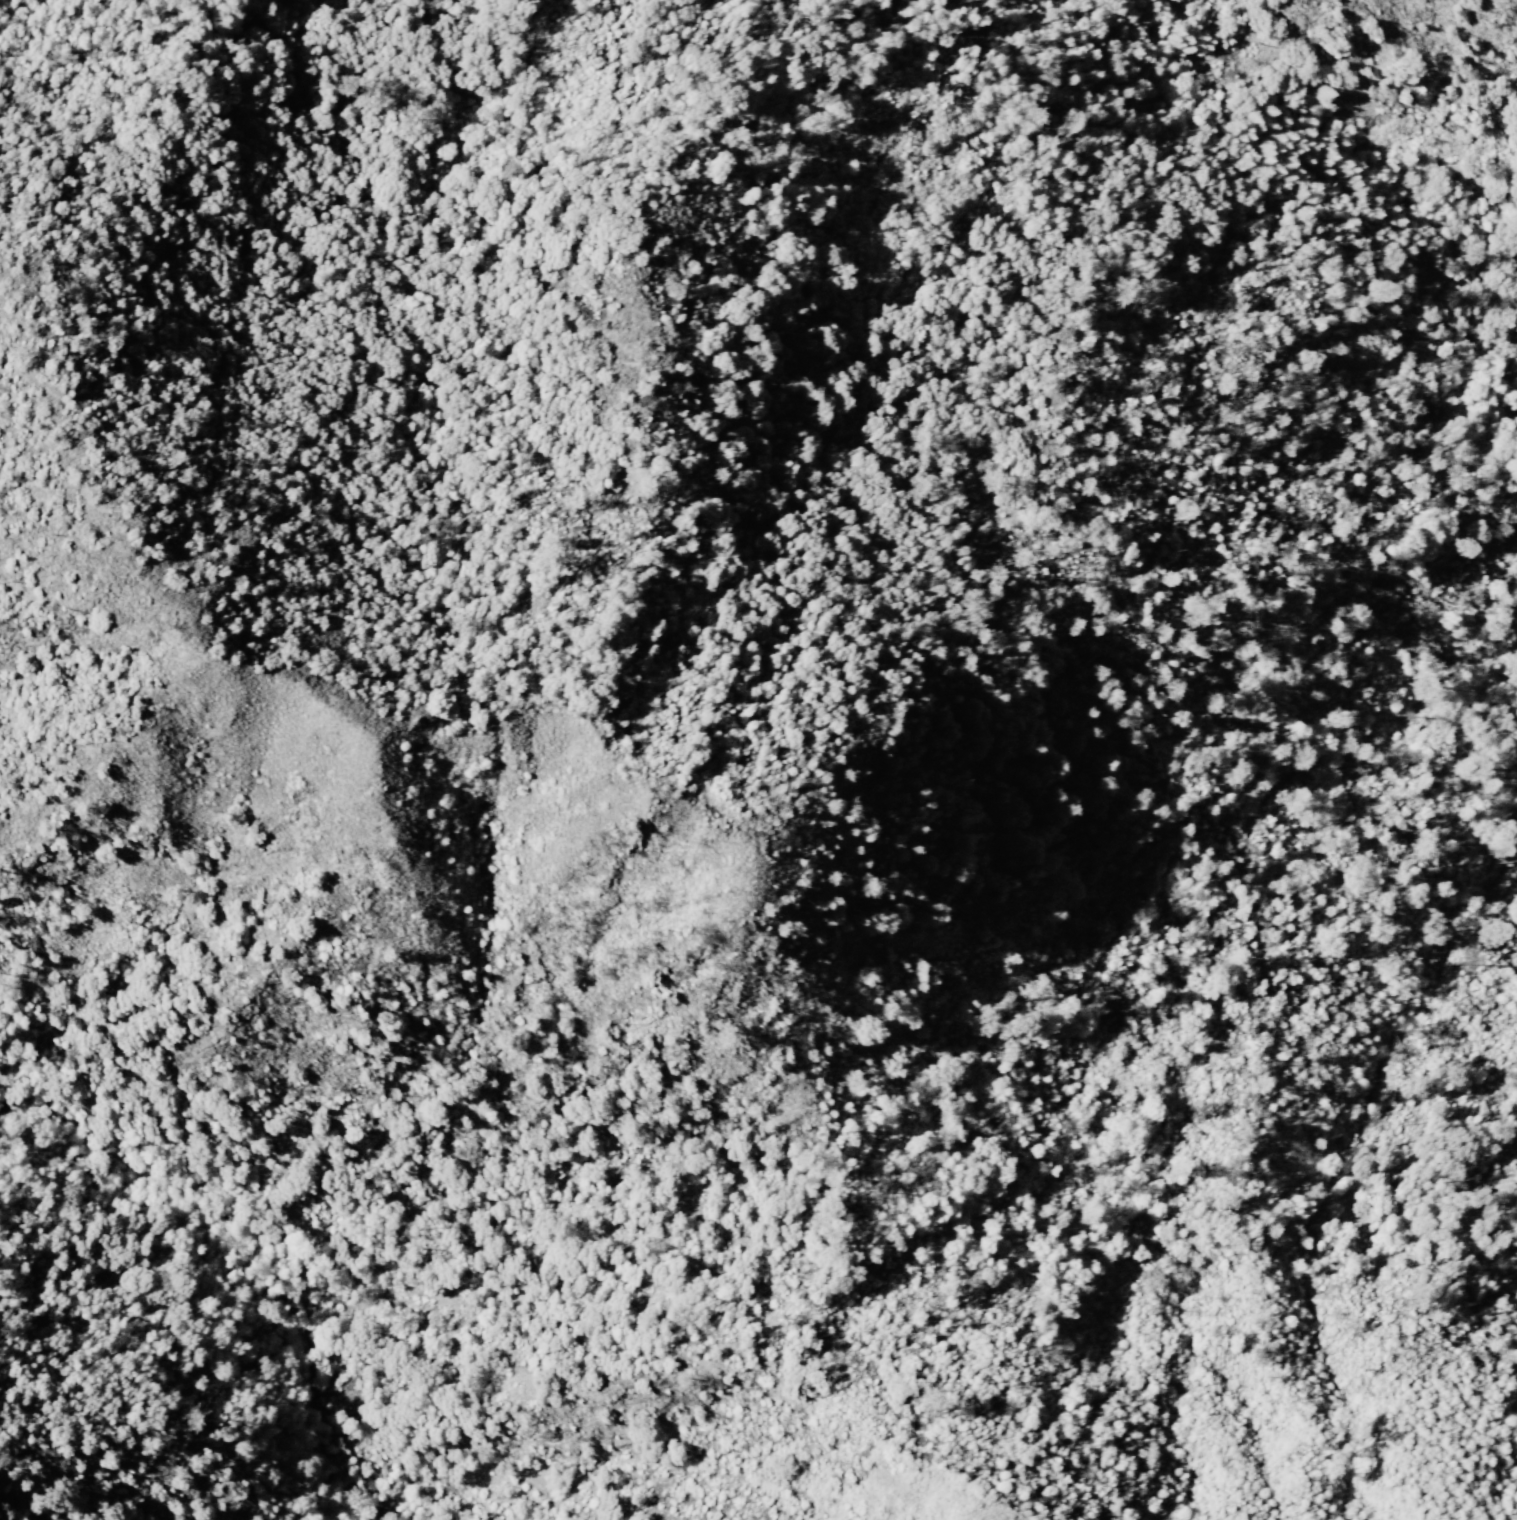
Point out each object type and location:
road: (1297, 159)

